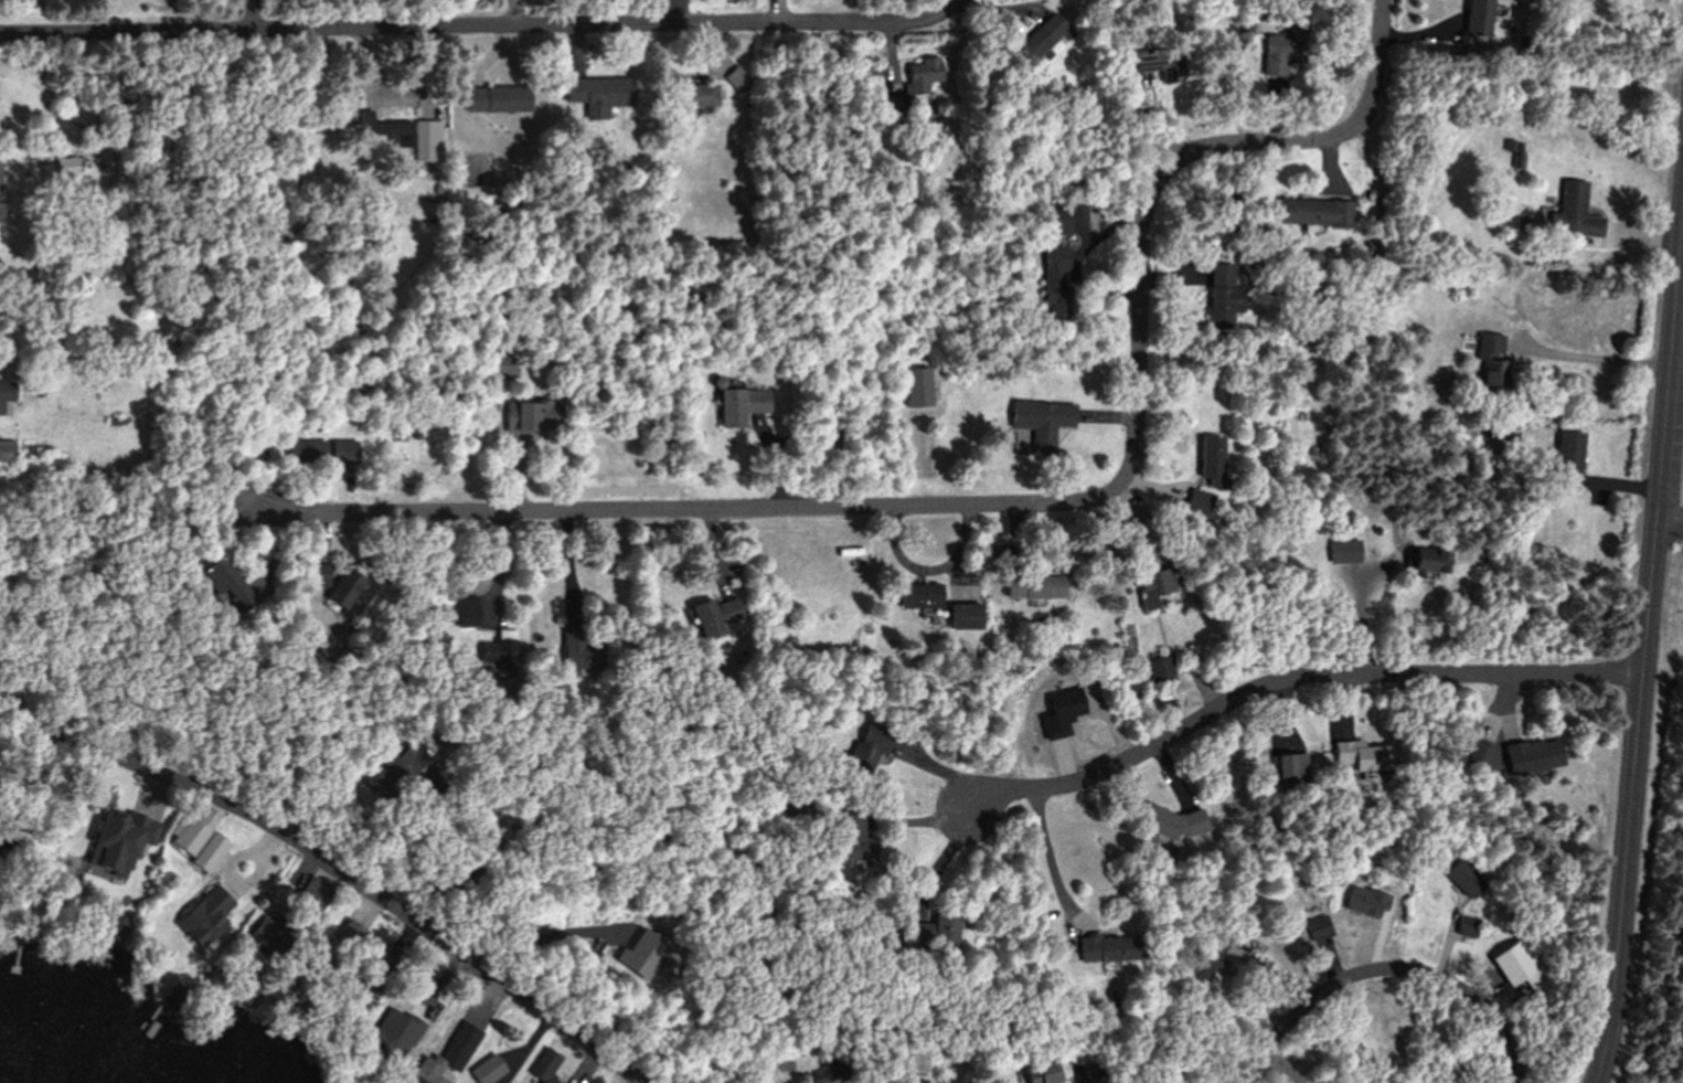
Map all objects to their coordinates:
building: (1478, 17)
road: (477, 24)
building: (1043, 41)
building: (1282, 50)
building: (1147, 61)
building: (595, 92)
building: (695, 96)
building: (913, 97)
building: (497, 99)
building: (424, 140)
building: (0, 204)
building: (1313, 212)
building: (1570, 212)
building: (1055, 280)
building: (1222, 297)
road: (1602, 352)
building: (1492, 363)
building: (500, 364)
building: (916, 387)
road: (1676, 390)
building: (6, 392)
building: (739, 406)
building: (531, 416)
building: (1042, 421)
building: (255, 447)
building: (4, 449)
building: (1210, 458)
building: (1567, 459)
building: (1197, 501)
road: (1004, 503)
road: (1671, 518)
building: (1343, 550)
building: (1425, 563)
park: (1672, 566)
building: (316, 573)
building: (1152, 583)
building: (225, 585)
building: (1033, 585)
building: (344, 592)
building: (712, 616)
building: (574, 644)
road: (1645, 663)
building: (1160, 669)
road: (1296, 676)
building: (867, 748)
building: (1476, 754)
building: (1362, 756)
building: (1527, 756)
building: (1289, 768)
building: (1161, 820)
building: (852, 837)
building: (198, 845)
road: (1044, 860)
road: (348, 878)
building: (1468, 879)
building: (312, 892)
building: (1366, 903)
building: (211, 909)
building: (1471, 926)
building: (1320, 927)
building: (1107, 947)
road: (1389, 963)
building: (1526, 966)
building: (395, 1045)
building: (448, 1055)
building: (924, 1061)
building: (544, 1066)
building: (488, 1070)

